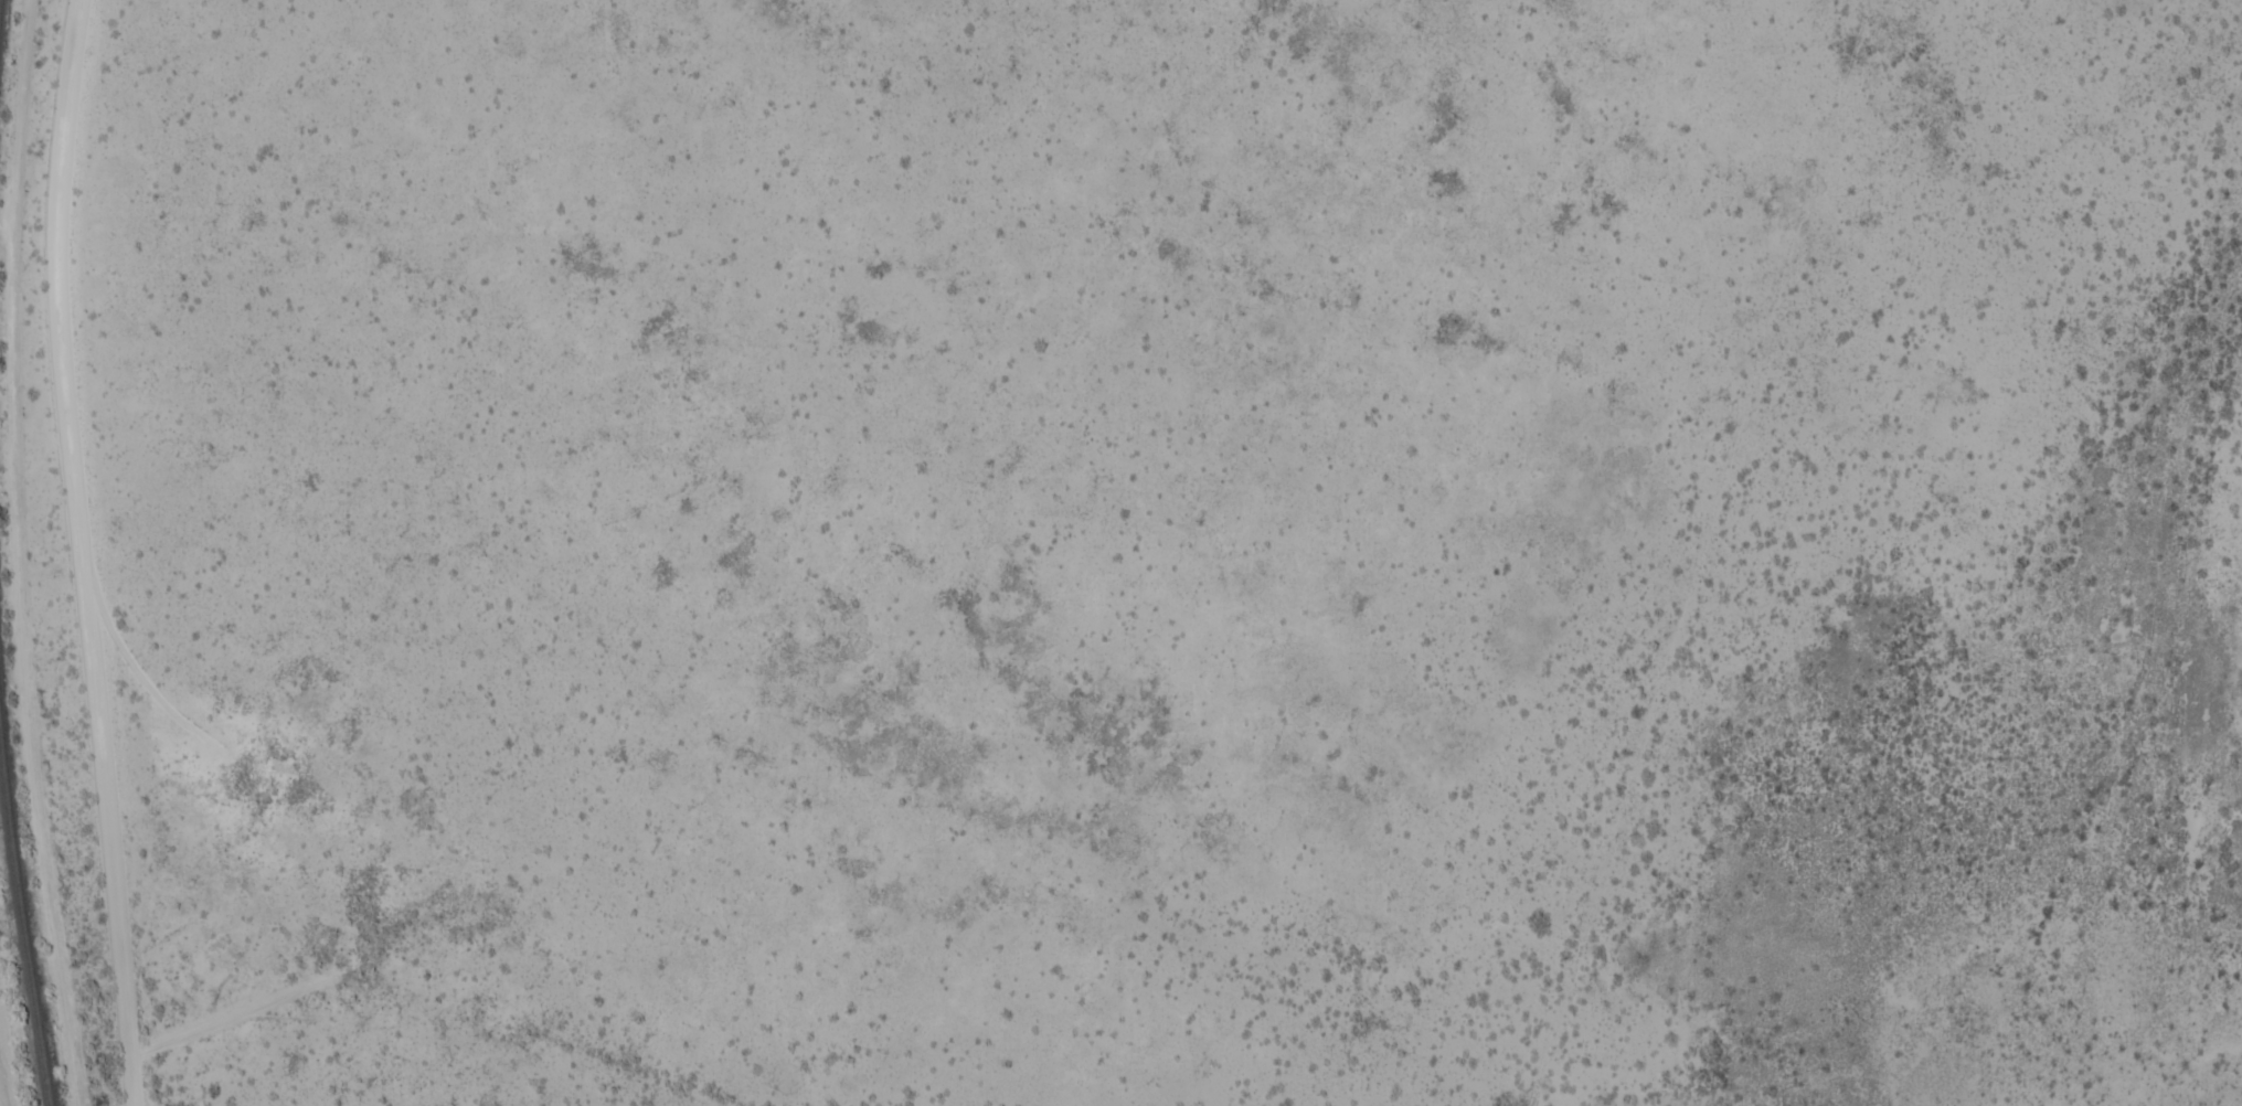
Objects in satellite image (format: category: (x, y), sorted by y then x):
railway: (0, 4)
road: (81, 552)
railway: (22, 919)

